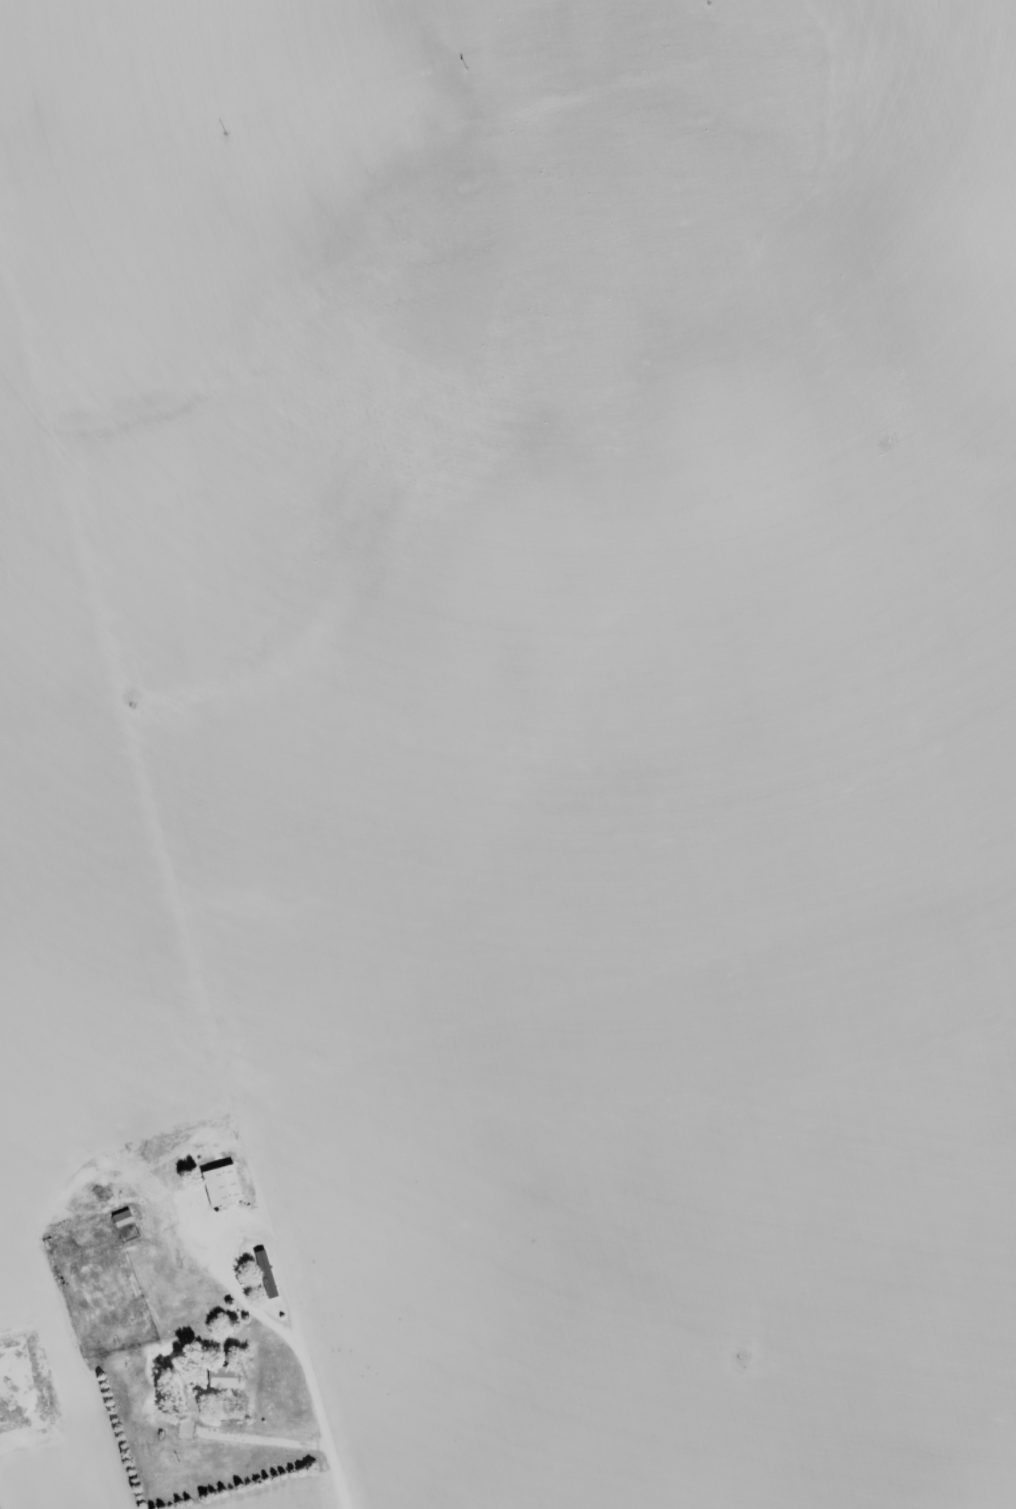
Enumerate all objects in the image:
road: (542, 710)
road: (29, 1167)
road: (217, 1174)
building: (219, 1183)
road: (158, 1218)
building: (221, 1377)

